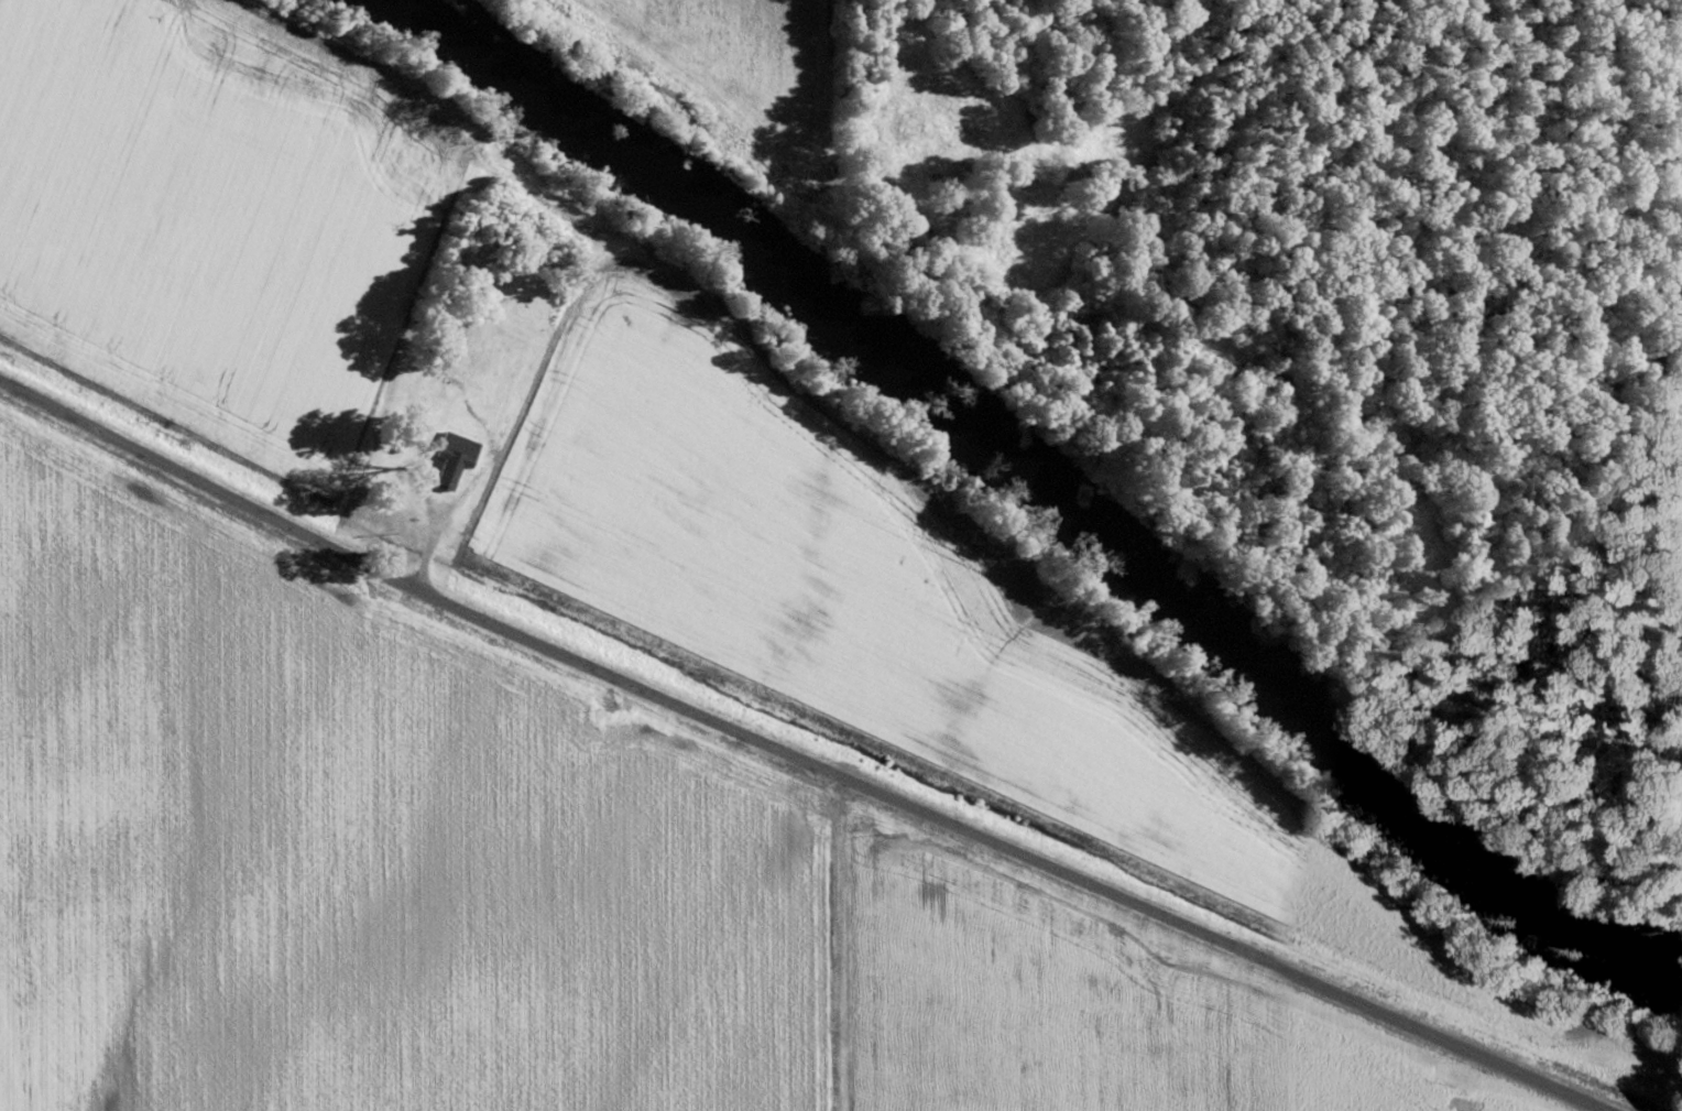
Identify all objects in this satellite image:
building: (452, 459)
river: (1038, 488)
road: (802, 758)

